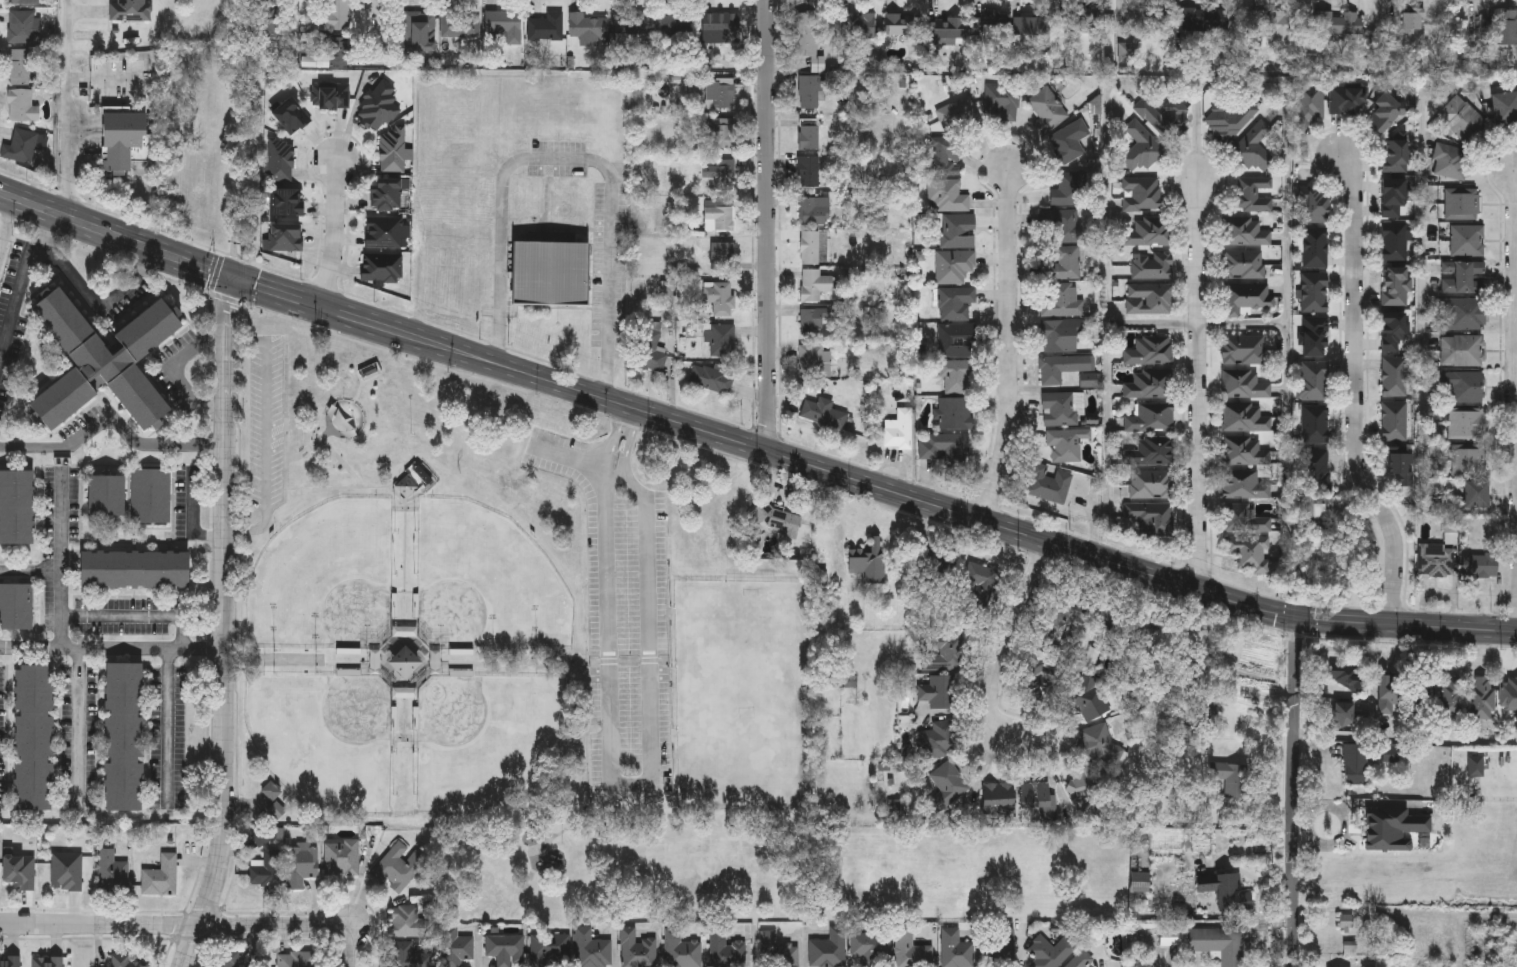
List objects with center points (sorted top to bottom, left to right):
building: (24, 1)
building: (131, 8)
building: (333, 14)
building: (1147, 16)
building: (1204, 18)
building: (1084, 19)
building: (630, 22)
building: (1337, 22)
building: (1499, 22)
building: (901, 23)
building: (1412, 23)
building: (459, 24)
building: (504, 24)
building: (668, 24)
building: (1266, 24)
building: (856, 25)
building: (21, 26)
building: (545, 26)
building: (987, 27)
building: (1031, 27)
building: (586, 28)
building: (720, 28)
building: (946, 30)
building: (419, 31)
road: (385, 33)
building: (805, 33)
building: (1125, 51)
building: (328, 56)
building: (18, 66)
road: (105, 80)
road: (1446, 85)
building: (810, 91)
building: (719, 93)
building: (331, 96)
building: (1001, 100)
building: (1346, 100)
building: (1309, 103)
building: (379, 105)
building: (21, 106)
road: (67, 107)
building: (1048, 107)
building: (1504, 107)
building: (1384, 113)
building: (290, 115)
building: (953, 115)
building: (1165, 117)
building: (1229, 118)
building: (1461, 118)
building: (718, 132)
building: (123, 135)
building: (808, 135)
building: (1069, 140)
building: (20, 145)
building: (1141, 146)
building: (1255, 146)
building: (393, 150)
building: (1394, 155)
building: (946, 158)
building: (280, 159)
building: (1449, 161)
building: (808, 170)
building: (721, 173)
building: (1068, 188)
building: (1141, 192)
building: (1252, 192)
building: (385, 193)
building: (947, 194)
building: (1391, 196)
building: (285, 201)
road: (501, 202)
building: (1461, 203)
building: (1314, 206)
road: (1106, 207)
building: (812, 209)
building: (718, 214)
building: (1065, 224)
road: (770, 225)
road: (44, 228)
road: (332, 229)
building: (957, 229)
building: (384, 230)
building: (1149, 230)
building: (1243, 230)
building: (285, 235)
building: (1467, 239)
building: (1394, 241)
building: (809, 246)
building: (1314, 246)
building: (721, 253)
road: (145, 261)
building: (1063, 262)
building: (1243, 263)
building: (1152, 264)
building: (953, 265)
building: (381, 266)
building: (549, 272)
building: (1461, 276)
road: (1289, 280)
building: (814, 283)
building: (1394, 285)
road: (613, 288)
building: (1314, 291)
road: (89, 292)
building: (1248, 295)
building: (719, 296)
building: (1149, 296)
road: (15, 299)
building: (1062, 300)
building: (955, 302)
building: (1461, 313)
building: (812, 322)
road: (1246, 322)
road: (1154, 323)
building: (1392, 330)
building: (1060, 334)
building: (1314, 335)
building: (720, 339)
building: (955, 339)
road: (248, 340)
road: (1012, 345)
building: (1150, 348)
building: (1244, 348)
building: (1461, 349)
building: (650, 351)
building: (812, 359)
building: (102, 361)
building: (1062, 366)
road: (172, 370)
building: (957, 375)
building: (1393, 375)
building: (711, 378)
building: (1088, 378)
building: (1313, 379)
road: (1202, 381)
building: (1150, 383)
building: (1244, 383)
building: (1463, 384)
road: (1356, 394)
building: (1060, 407)
building: (823, 412)
building: (954, 412)
building: (1246, 416)
building: (1150, 417)
road: (631, 418)
road: (114, 419)
parking lot: (267, 420)
building: (1394, 420)
building: (1314, 423)
building: (1466, 423)
road: (267, 426)
building: (899, 429)
road: (750, 443)
building: (1066, 443)
building: (948, 447)
building: (1152, 450)
building: (1243, 450)
building: (1468, 461)
building: (1399, 463)
building: (1314, 468)
building: (423, 471)
road: (614, 474)
building: (1048, 483)
building: (1150, 483)
building: (406, 484)
building: (1243, 484)
building: (1475, 493)
building: (106, 495)
building: (151, 496)
building: (16, 507)
building: (1309, 509)
building: (1151, 515)
building: (1244, 517)
road: (193, 520)
road: (254, 527)
building: (1247, 552)
building: (1317, 558)
building: (1435, 559)
building: (869, 560)
road: (62, 561)
building: (1480, 564)
building: (939, 567)
building: (133, 569)
road: (31, 570)
park: (325, 574)
park: (482, 574)
building: (980, 576)
building: (16, 606)
road: (125, 616)
parking lot: (623, 621)
road: (228, 624)
building: (405, 630)
road: (186, 632)
park: (517, 643)
road: (1011, 645)
road: (113, 649)
building: (944, 653)
building: (374, 660)
building: (404, 660)
building: (434, 660)
building: (1348, 675)
building: (837, 680)
building: (405, 691)
building: (938, 691)
building: (1390, 691)
building: (1422, 691)
building: (1509, 691)
park: (742, 693)
building: (1451, 694)
building: (1086, 695)
building: (1482, 697)
building: (1343, 714)
road: (78, 720)
road: (167, 724)
building: (123, 736)
building: (32, 737)
park: (325, 737)
park: (482, 737)
building: (938, 739)
road: (1407, 739)
building: (1098, 742)
building: (1355, 766)
building: (1229, 771)
road: (638, 782)
building: (947, 786)
road: (1299, 791)
building: (1037, 797)
building: (998, 798)
building: (263, 836)
building: (341, 856)
building: (304, 862)
building: (399, 867)
building: (20, 871)
building: (66, 871)
building: (112, 872)
building: (266, 872)
building: (161, 876)
building: (1140, 881)
building: (1229, 892)
building: (1348, 920)
road: (174, 923)
building: (411, 923)
building: (1171, 937)
building: (1218, 943)
building: (455, 946)
building: (870, 947)
building: (828, 948)
road: (349, 949)
building: (505, 949)
building: (591, 949)
building: (637, 949)
building: (955, 949)
building: (549, 950)
building: (681, 950)
building: (910, 950)
building: (999, 950)
building: (726, 951)
building: (777, 951)
building: (1050, 951)
building: (225, 958)
building: (292, 959)
building: (1080, 959)
building: (10, 961)
building: (127, 961)
building: (47, 962)

